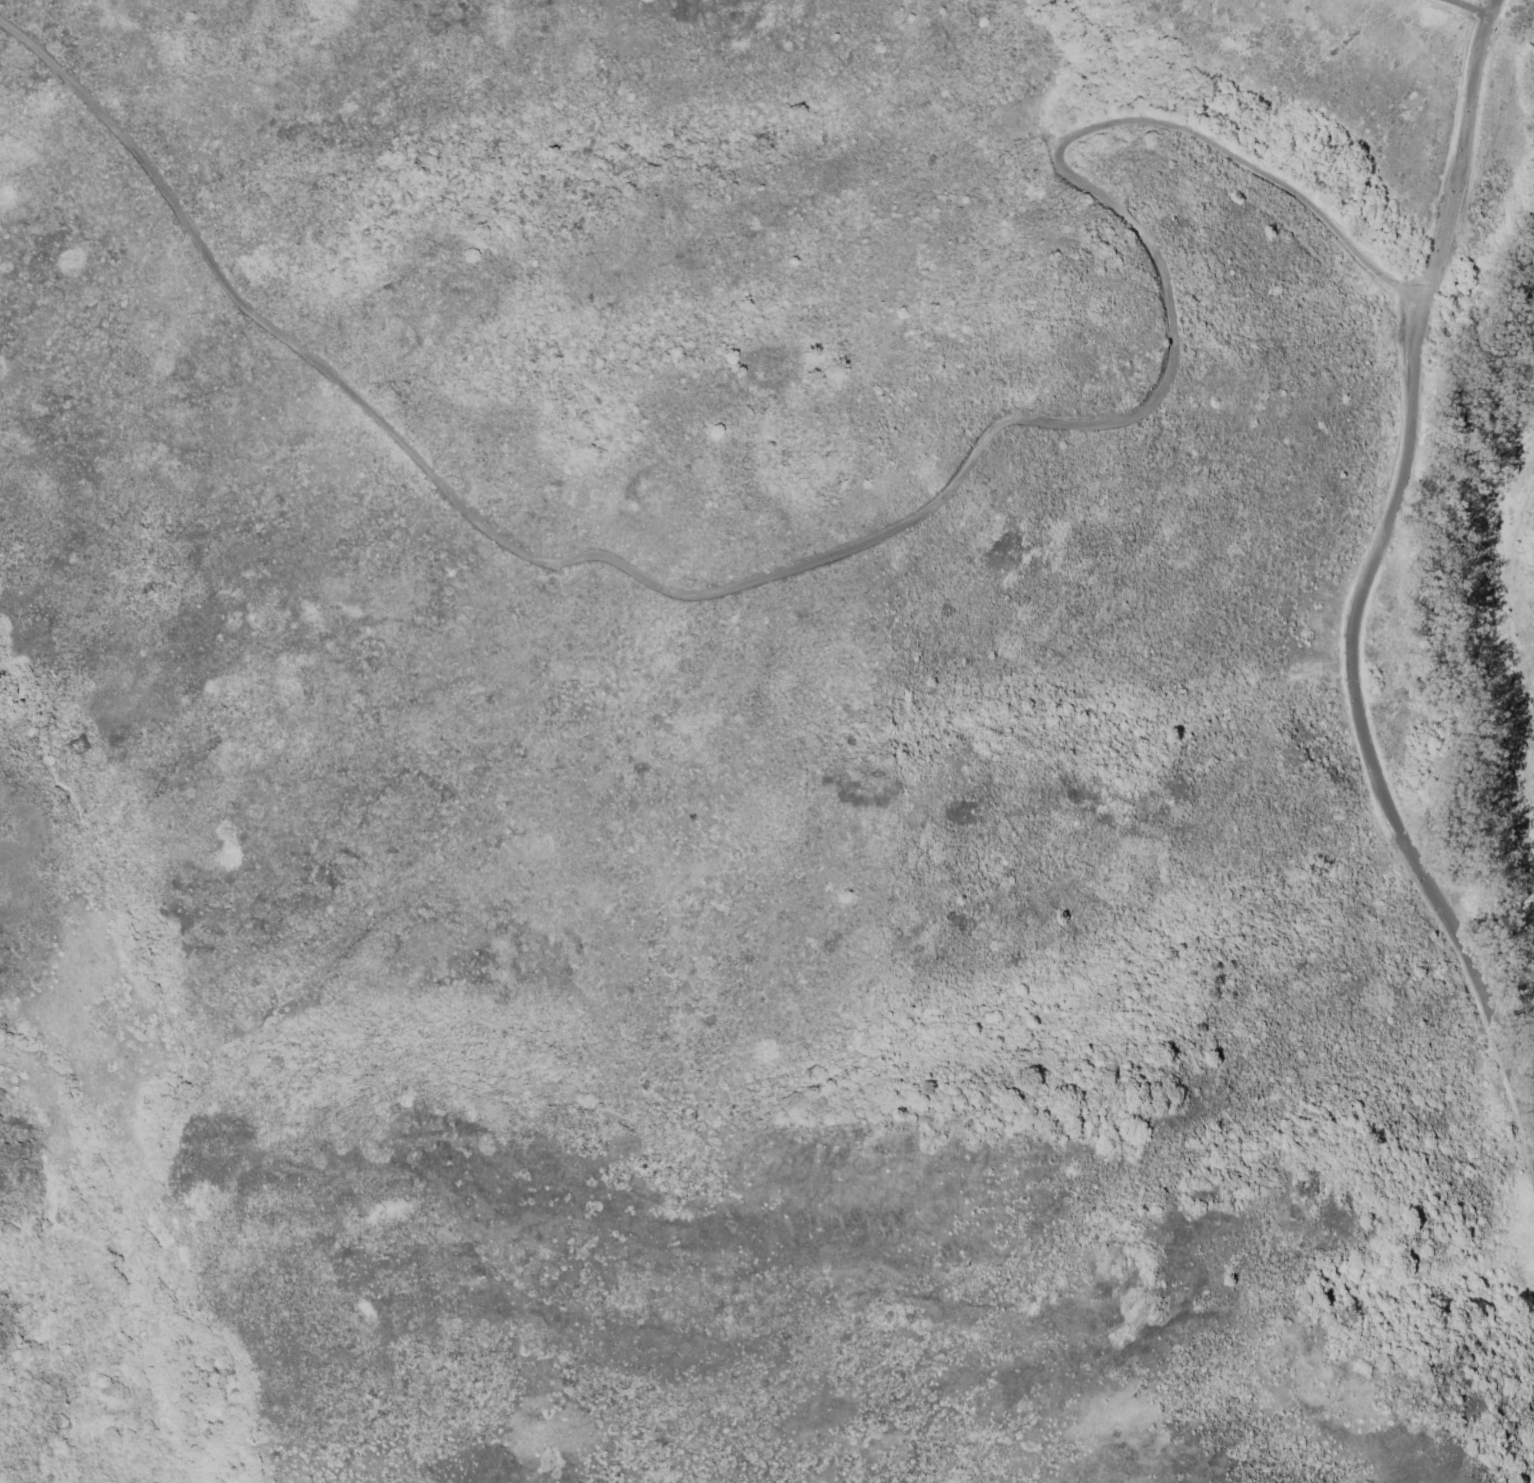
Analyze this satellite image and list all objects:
road: (1463, 7)
road: (1461, 155)
road: (850, 551)
road: (1367, 746)

